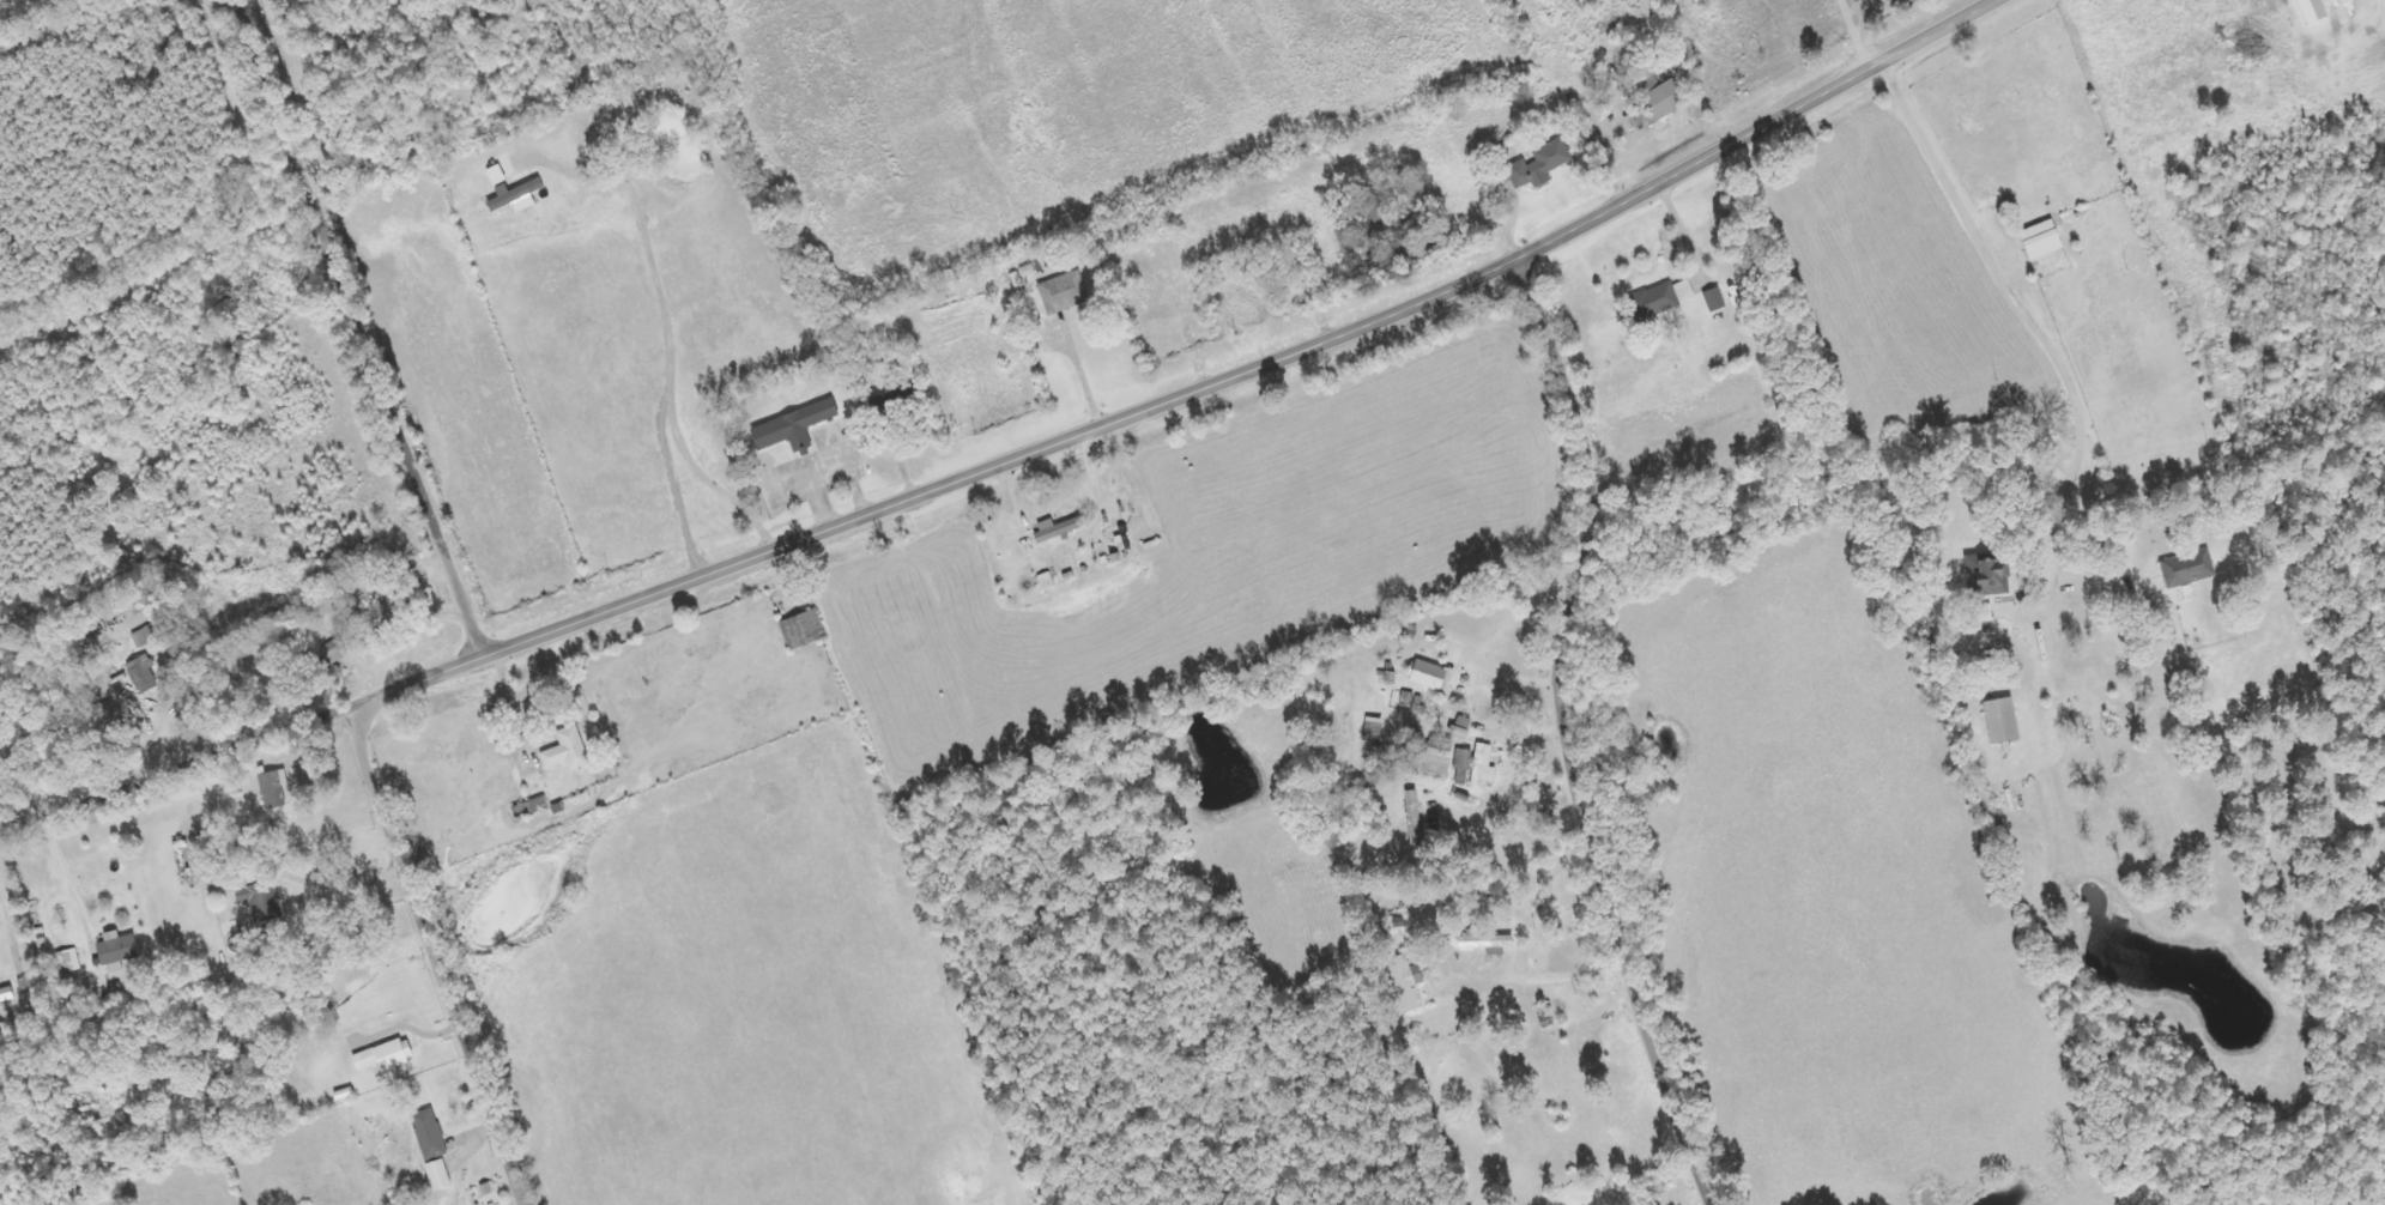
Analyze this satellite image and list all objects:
building: (1660, 103)
building: (1539, 164)
building: (516, 195)
building: (2040, 241)
building: (1064, 292)
building: (1660, 298)
building: (1714, 298)
road: (356, 327)
road: (1253, 363)
building: (793, 426)
building: (1057, 529)
building: (2187, 568)
building: (1985, 576)
building: (803, 629)
building: (145, 637)
building: (331, 661)
building: (143, 673)
building: (1428, 674)
building: (2002, 720)
road: (1563, 734)
road: (241, 741)
building: (567, 750)
building: (1463, 758)
building: (1483, 765)
building: (268, 786)
building: (1414, 818)
building: (1485, 941)
building: (116, 950)
road: (430, 953)
building: (69, 962)
building: (1406, 982)
building: (6, 995)
building: (385, 1056)
building: (429, 1134)
building: (437, 1175)

